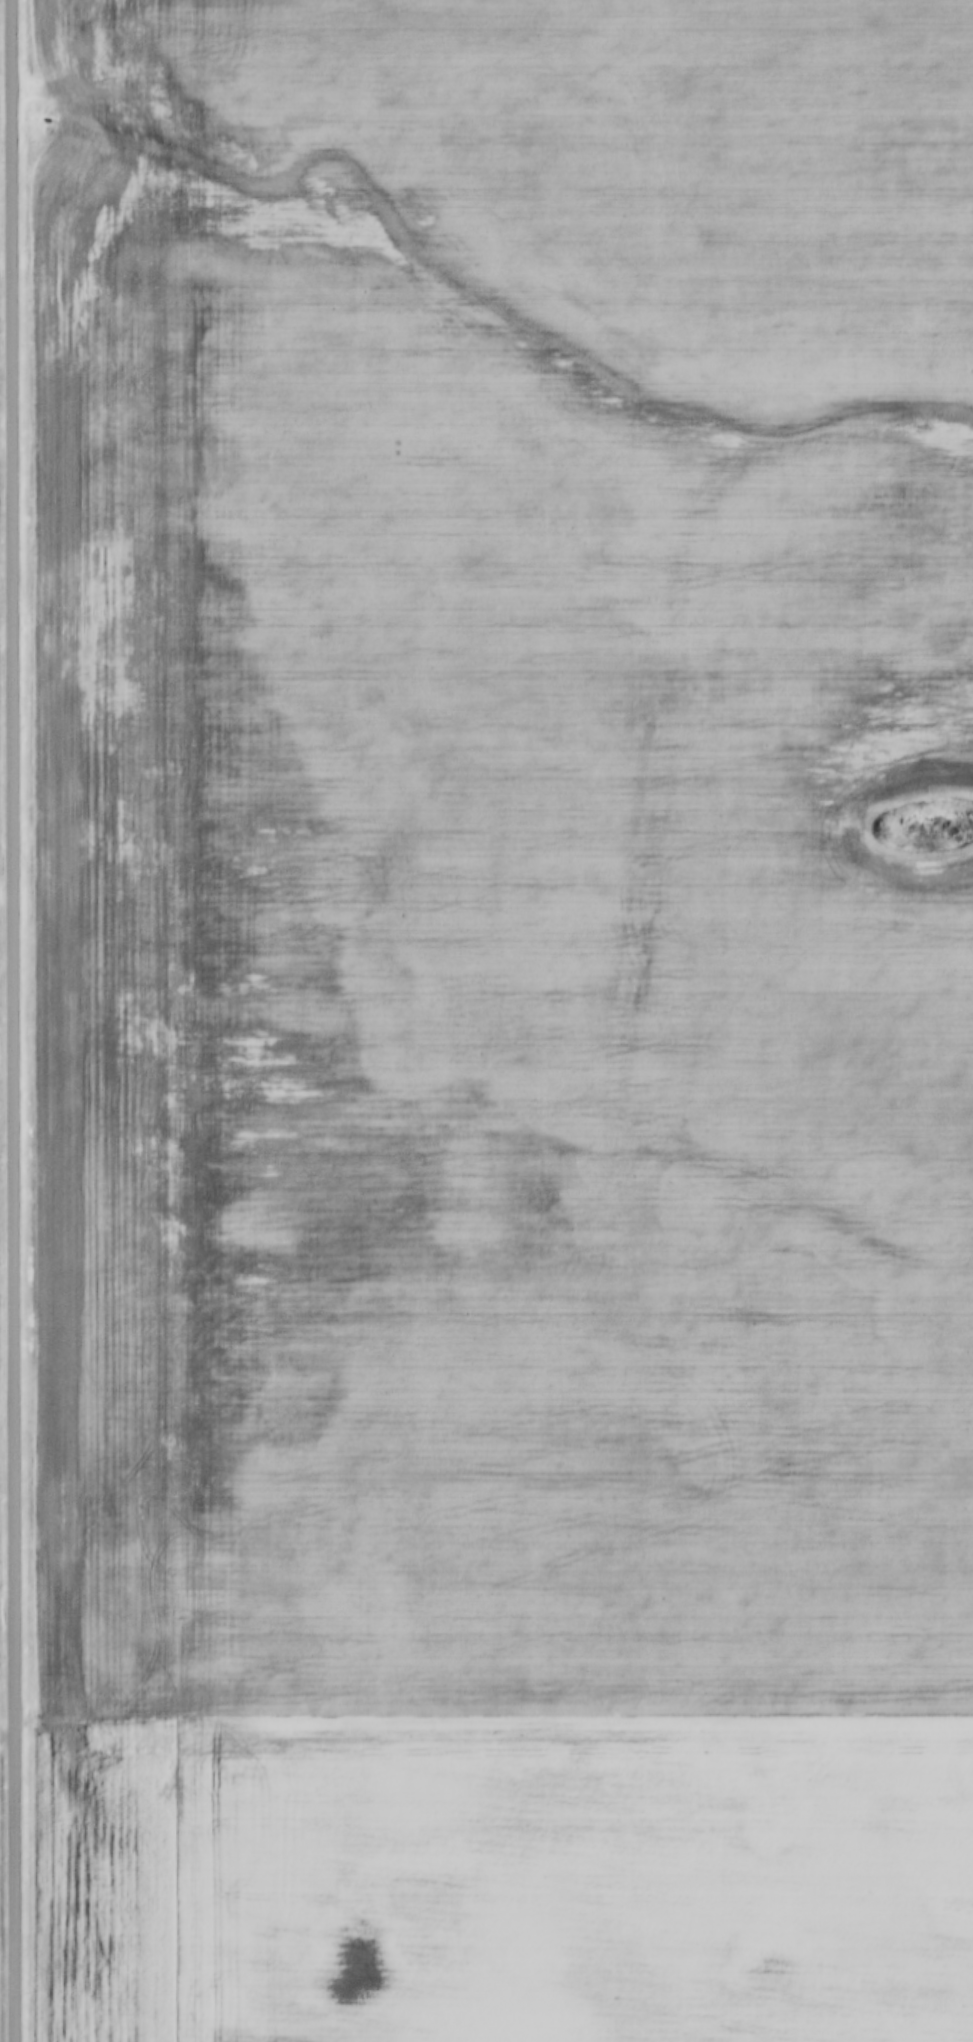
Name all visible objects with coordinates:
road: (17, 1020)

